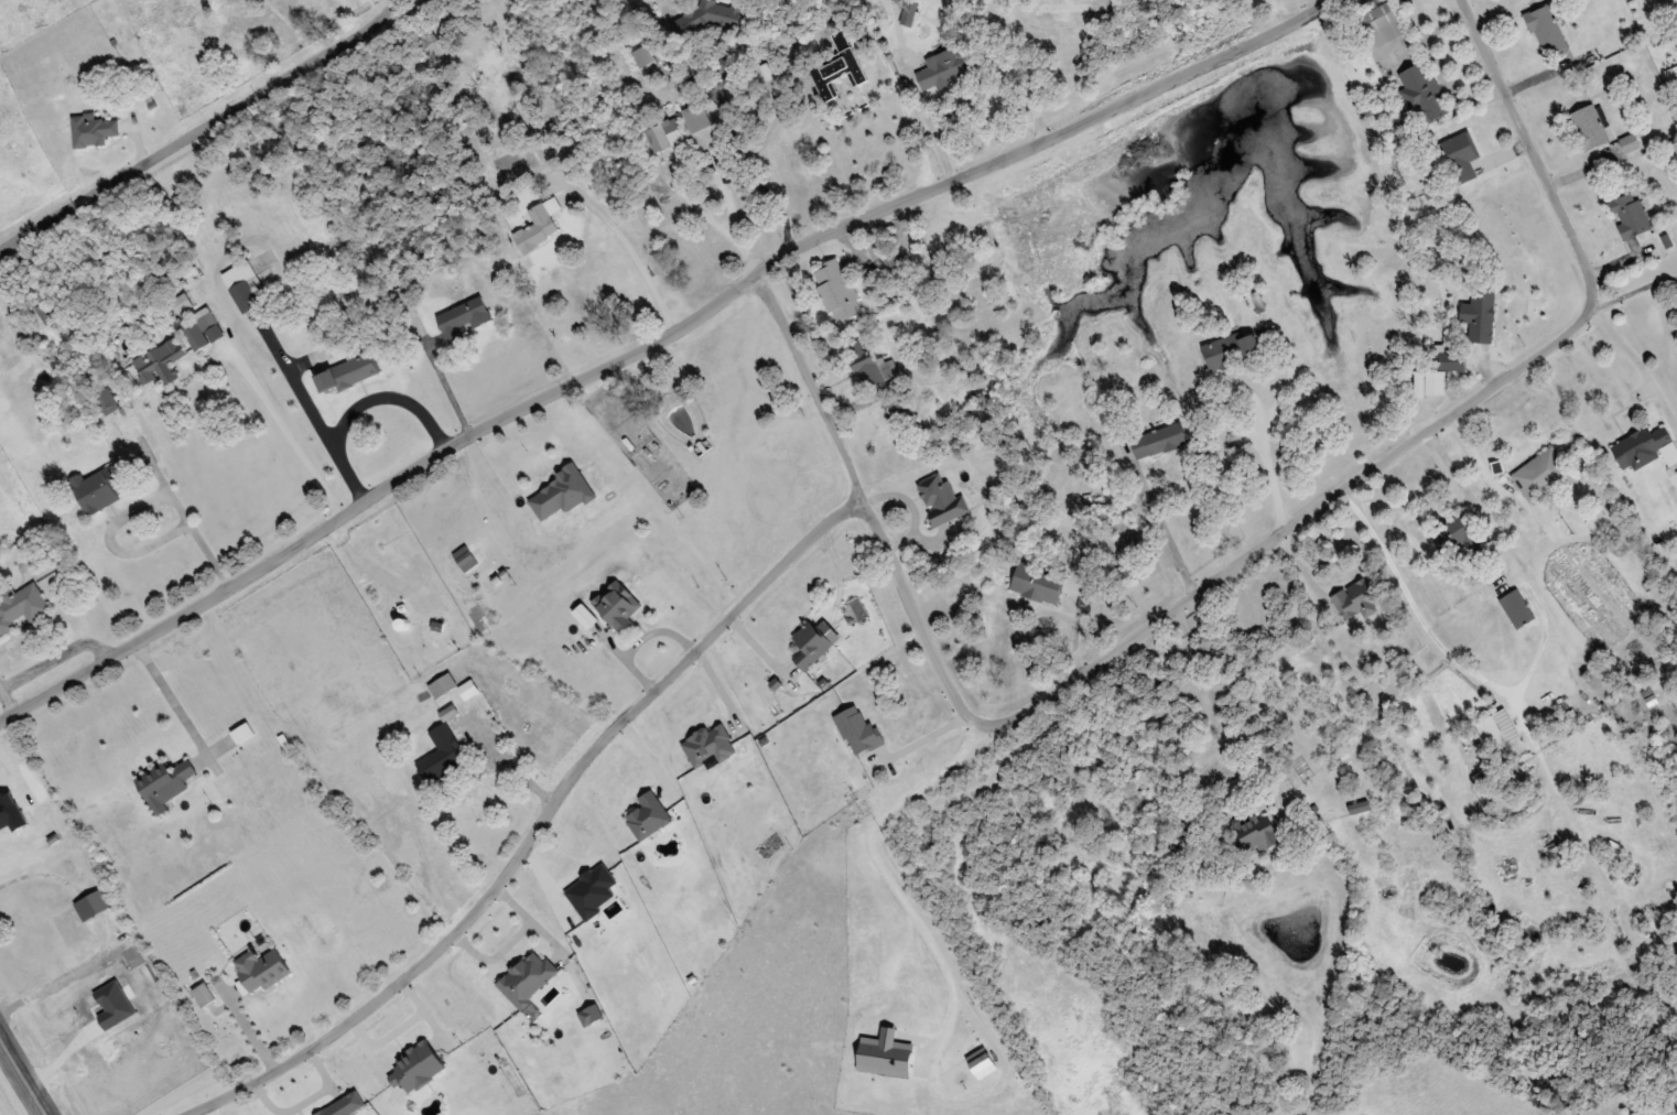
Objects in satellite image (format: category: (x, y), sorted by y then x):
building: (1378, 26)
building: (1547, 30)
building: (842, 63)
building: (948, 67)
building: (1422, 94)
road: (196, 120)
building: (1589, 127)
building: (94, 130)
building: (666, 136)
building: (707, 137)
building: (1461, 155)
building: (1630, 215)
building: (541, 224)
building: (878, 249)
building: (245, 285)
building: (837, 290)
building: (1480, 314)
building: (464, 317)
building: (201, 331)
road: (656, 349)
building: (1232, 349)
building: (1453, 360)
building: (160, 361)
building: (873, 365)
building: (346, 374)
building: (107, 400)
building: (1159, 441)
building: (1645, 447)
building: (1543, 475)
building: (101, 487)
building: (562, 494)
building: (942, 499)
building: (1458, 534)
road: (1224, 577)
building: (1037, 582)
building: (1356, 599)
building: (619, 606)
building: (21, 607)
building: (1517, 608)
building: (811, 645)
building: (1497, 730)
building: (443, 754)
building: (165, 783)
building: (1361, 805)
building: (649, 815)
road: (541, 829)
building: (1257, 834)
building: (262, 968)
building: (528, 977)
building: (204, 994)
road: (23, 1074)

